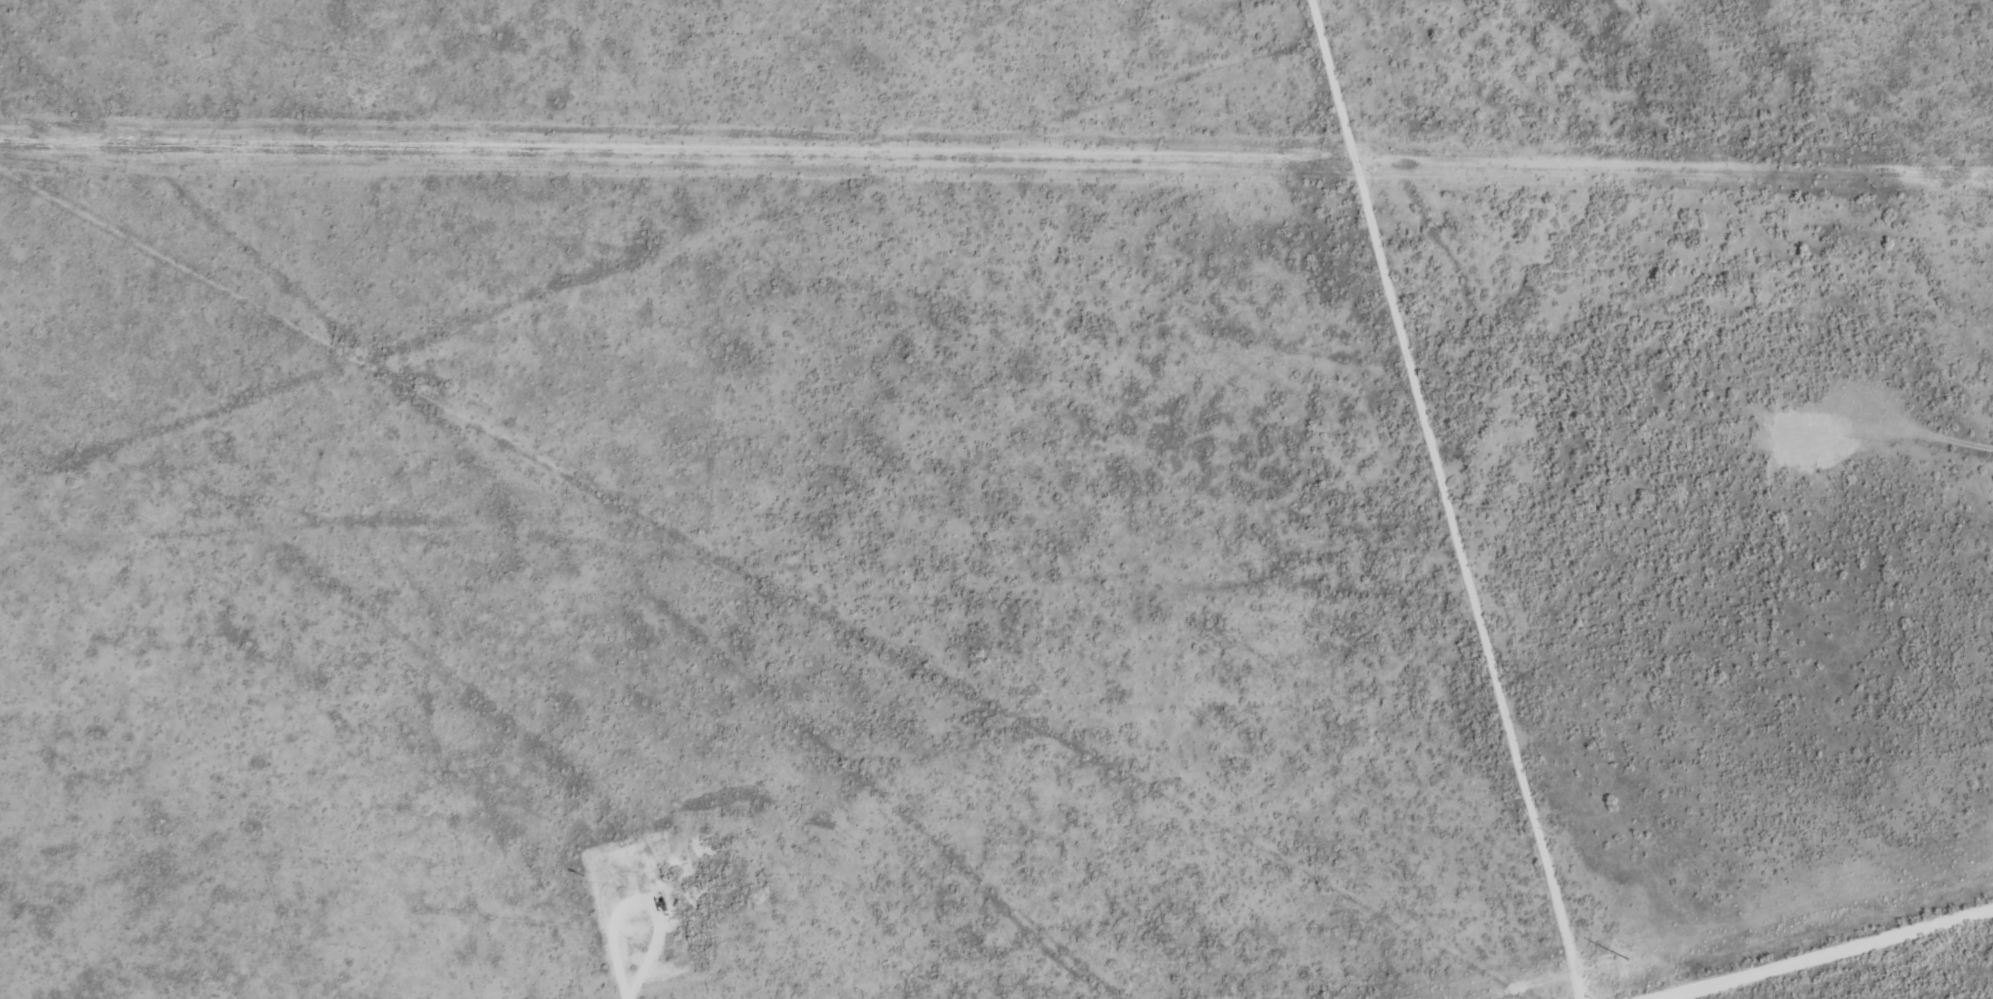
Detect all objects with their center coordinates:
road: (1829, 954)

